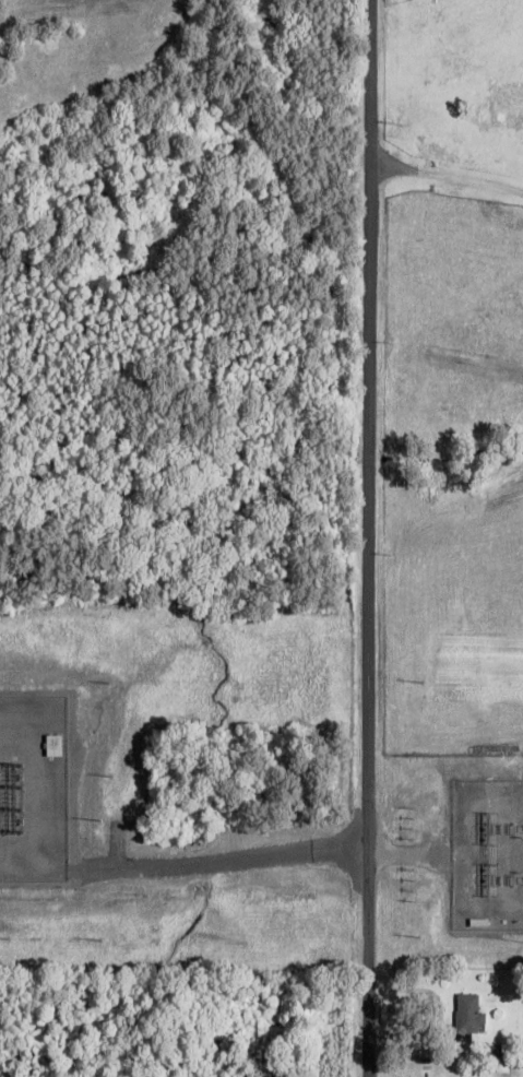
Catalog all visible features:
road: (447, 176)
road: (368, 538)
power substation: (39, 785)
power substation: (487, 855)
building: (472, 1016)
building: (500, 1065)

